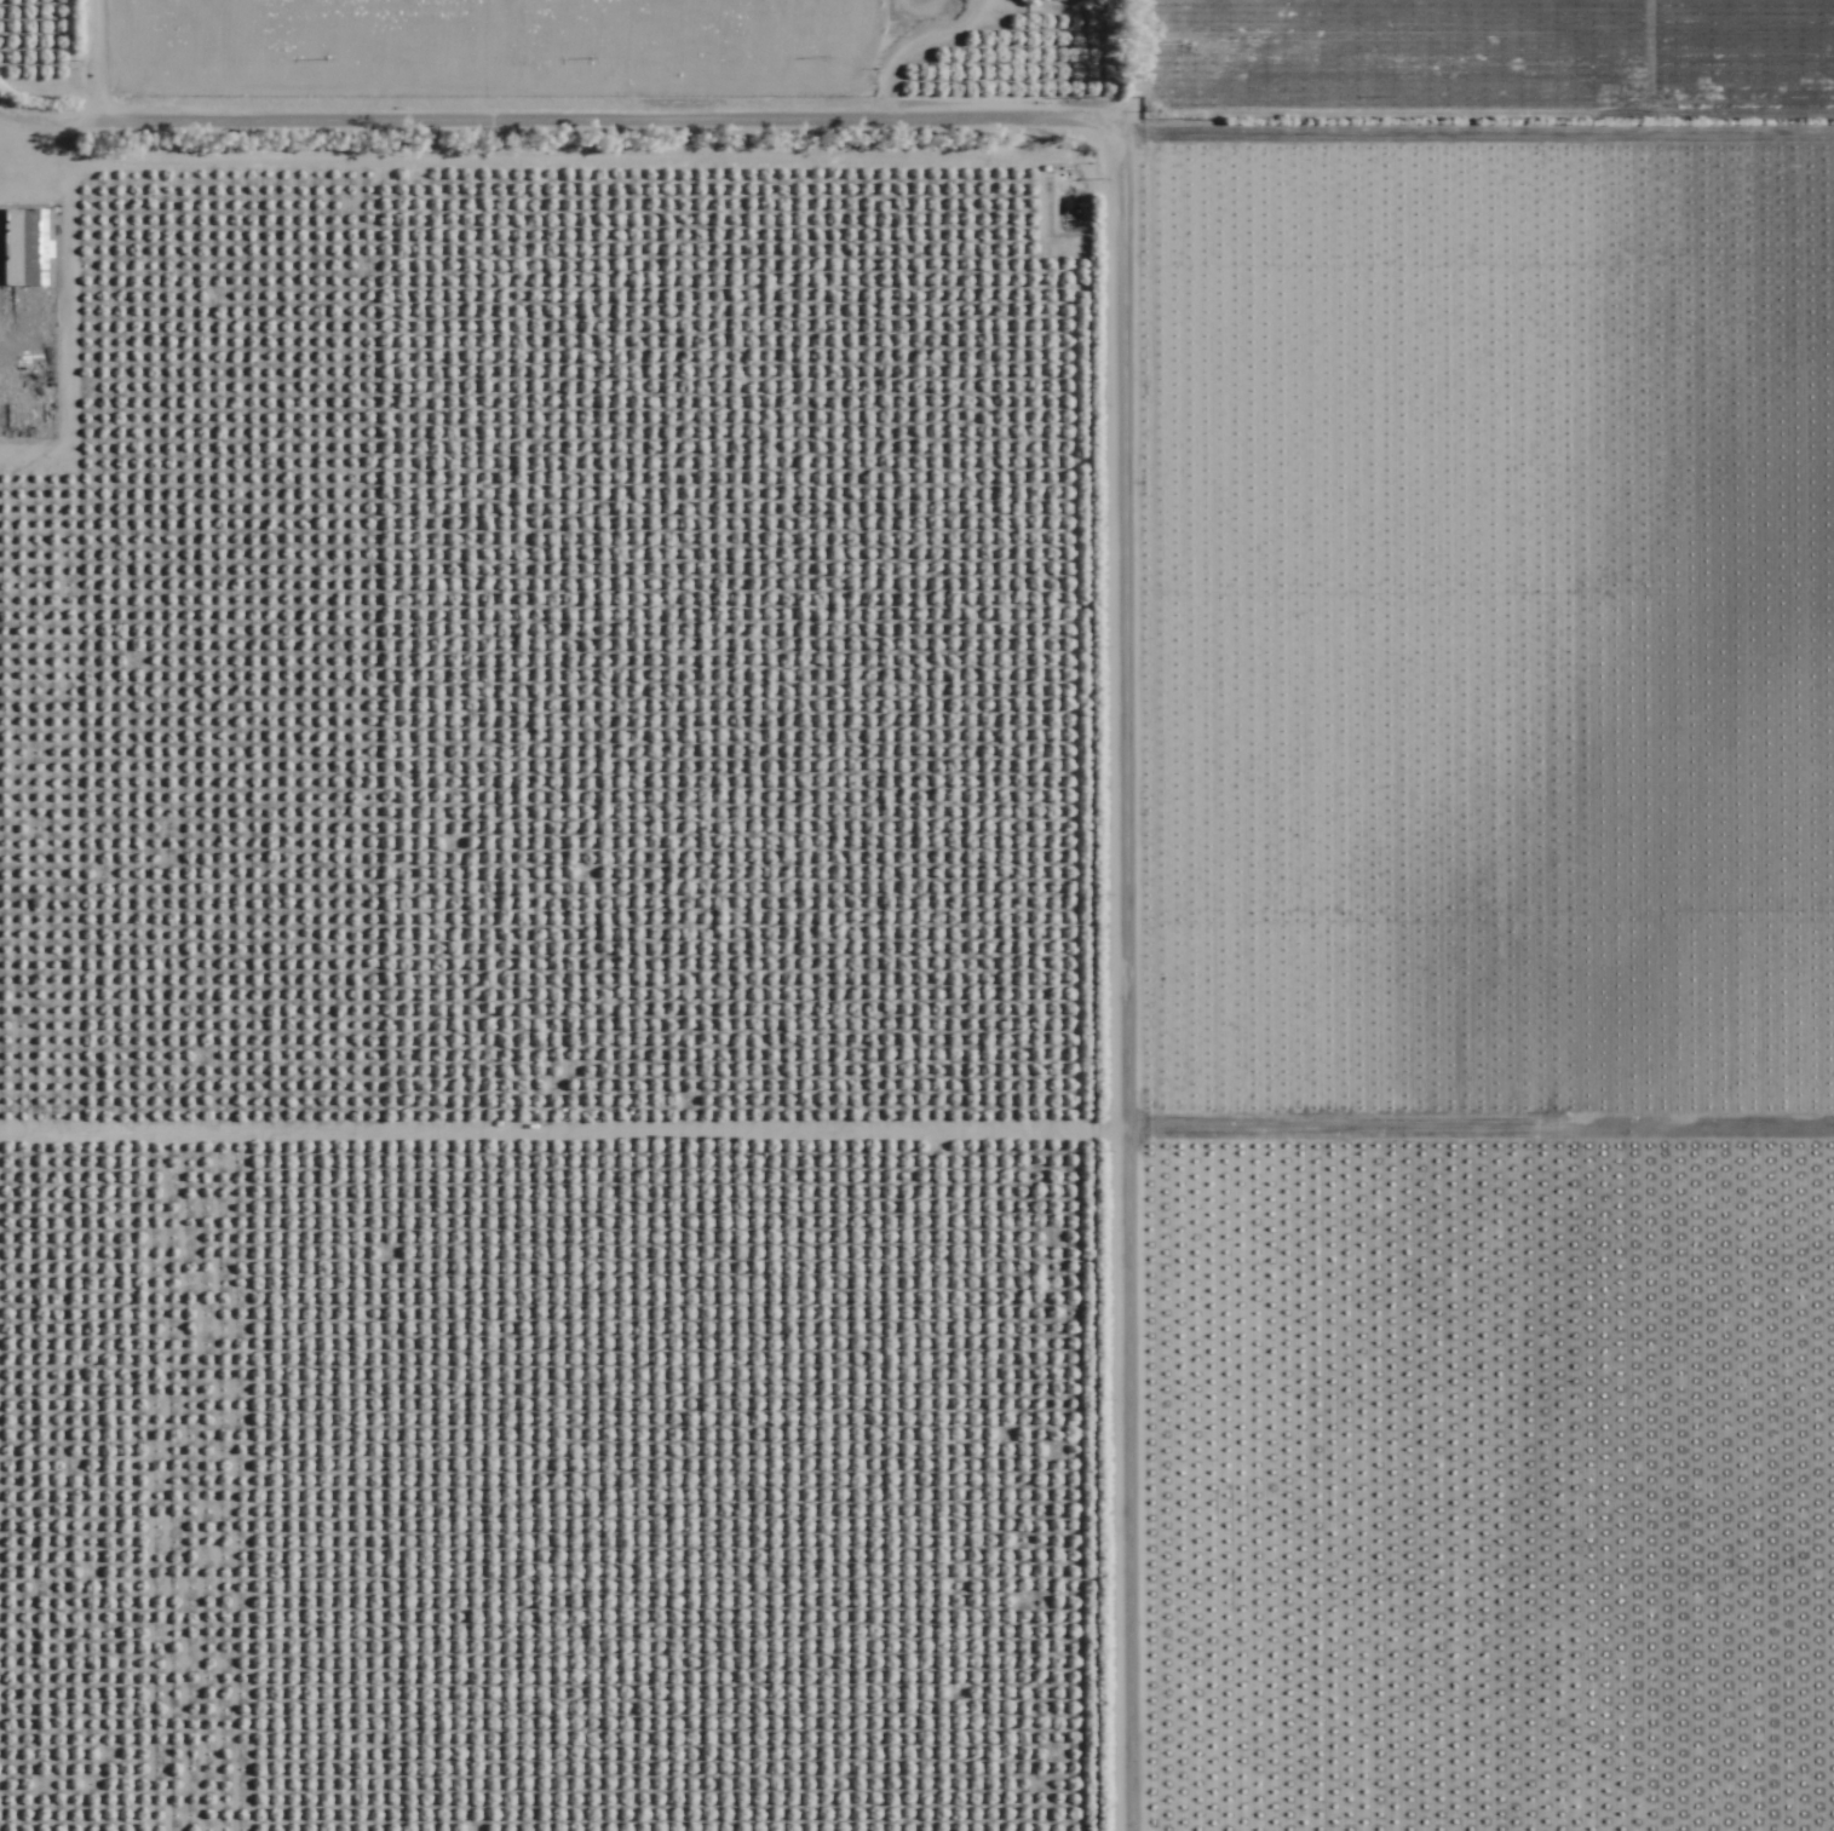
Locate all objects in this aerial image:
building: (1052, 0)
road: (61, 44)
road: (563, 99)
road: (1478, 132)
building: (25, 248)
crop: (902, 937)
road: (1126, 980)
road: (64, 1102)

